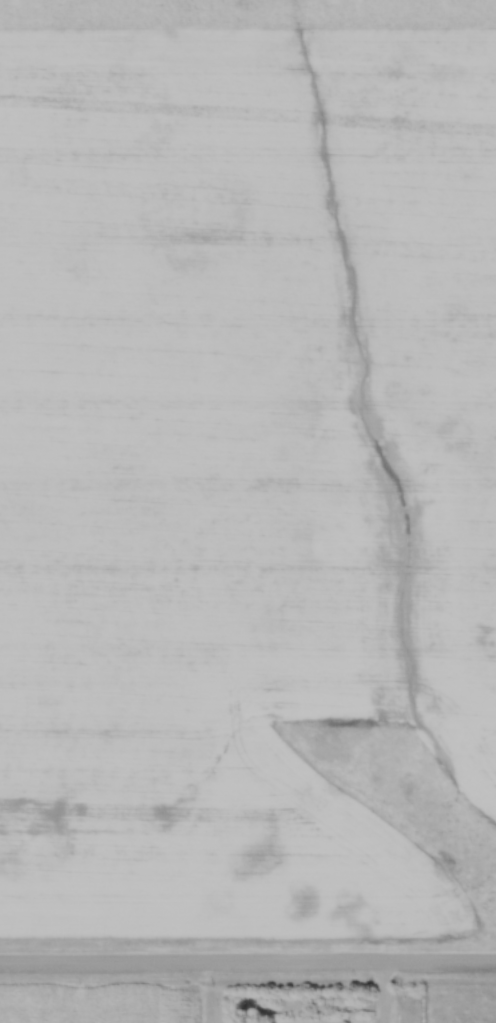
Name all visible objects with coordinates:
road: (247, 966)
road: (380, 995)

